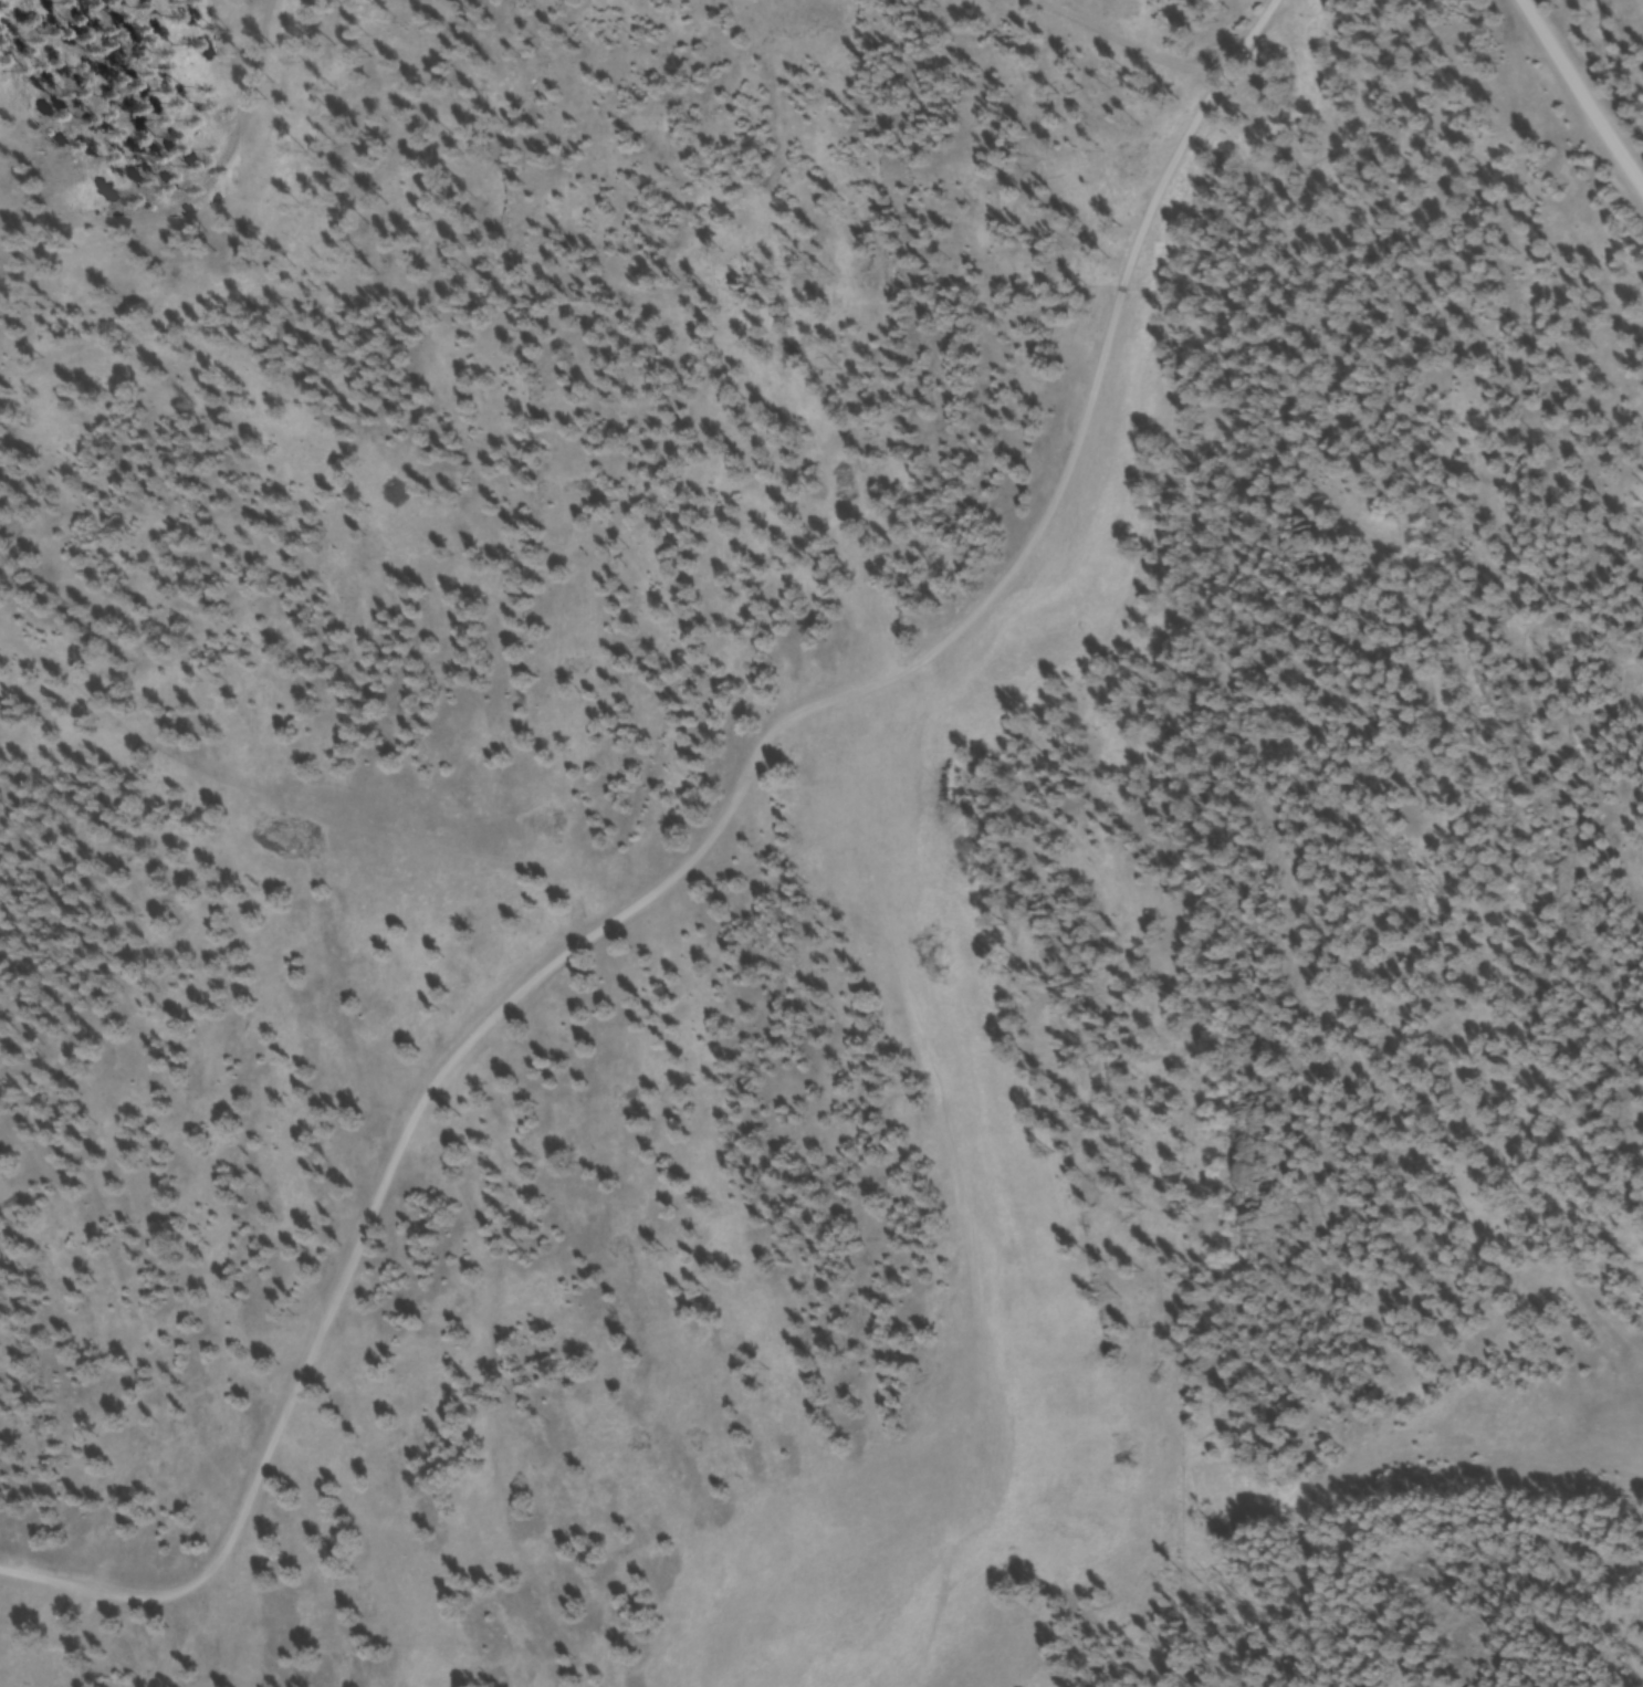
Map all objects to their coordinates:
road: (1580, 95)
road: (191, 187)
road: (680, 862)

